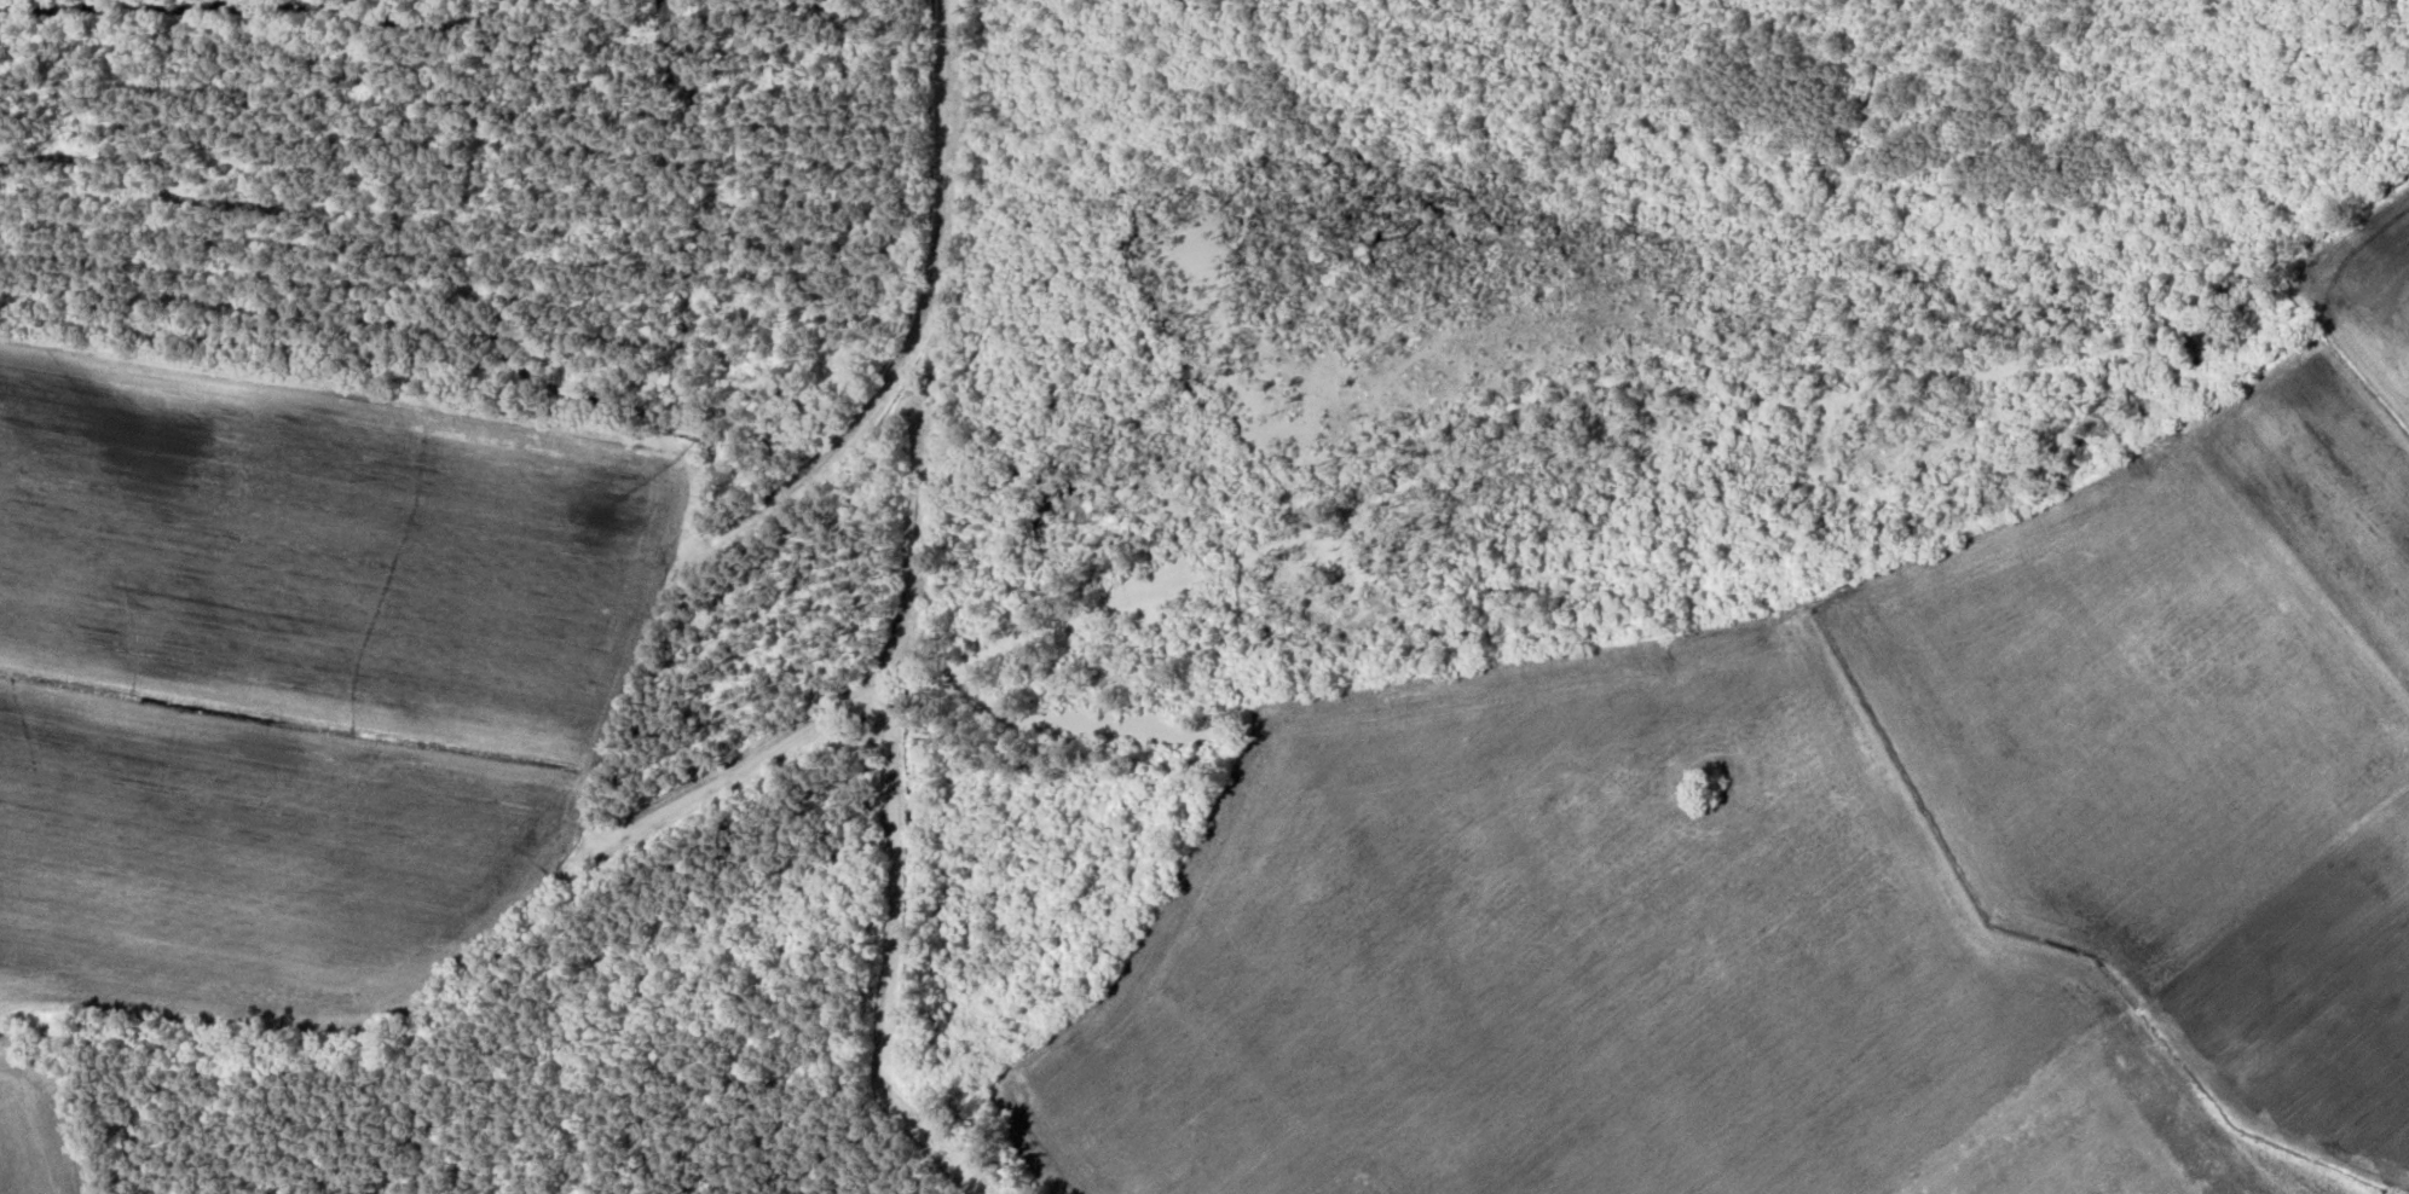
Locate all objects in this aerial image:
road: (909, 329)
road: (687, 469)
road: (908, 504)
park: (1715, 772)
road: (888, 960)

